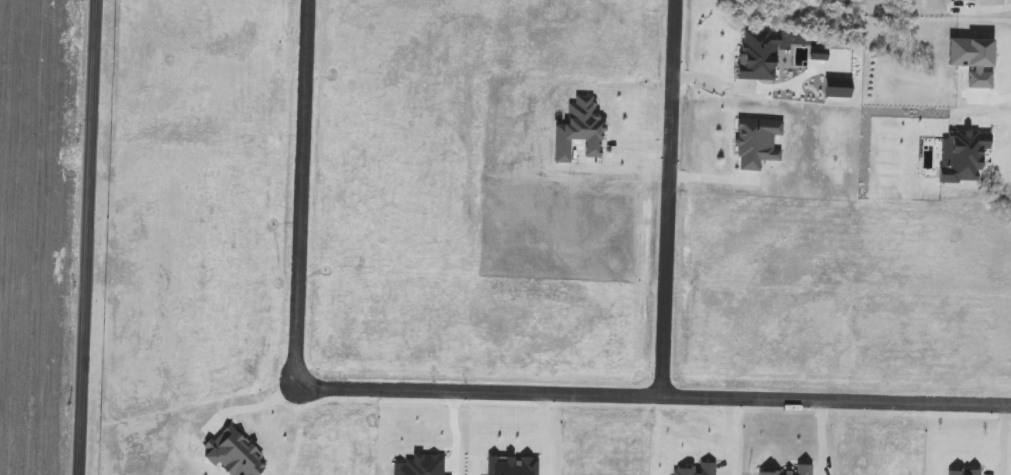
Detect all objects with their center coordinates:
building: (752, 143)
road: (303, 193)
road: (668, 199)
road: (86, 237)
road: (657, 397)
road: (255, 405)

